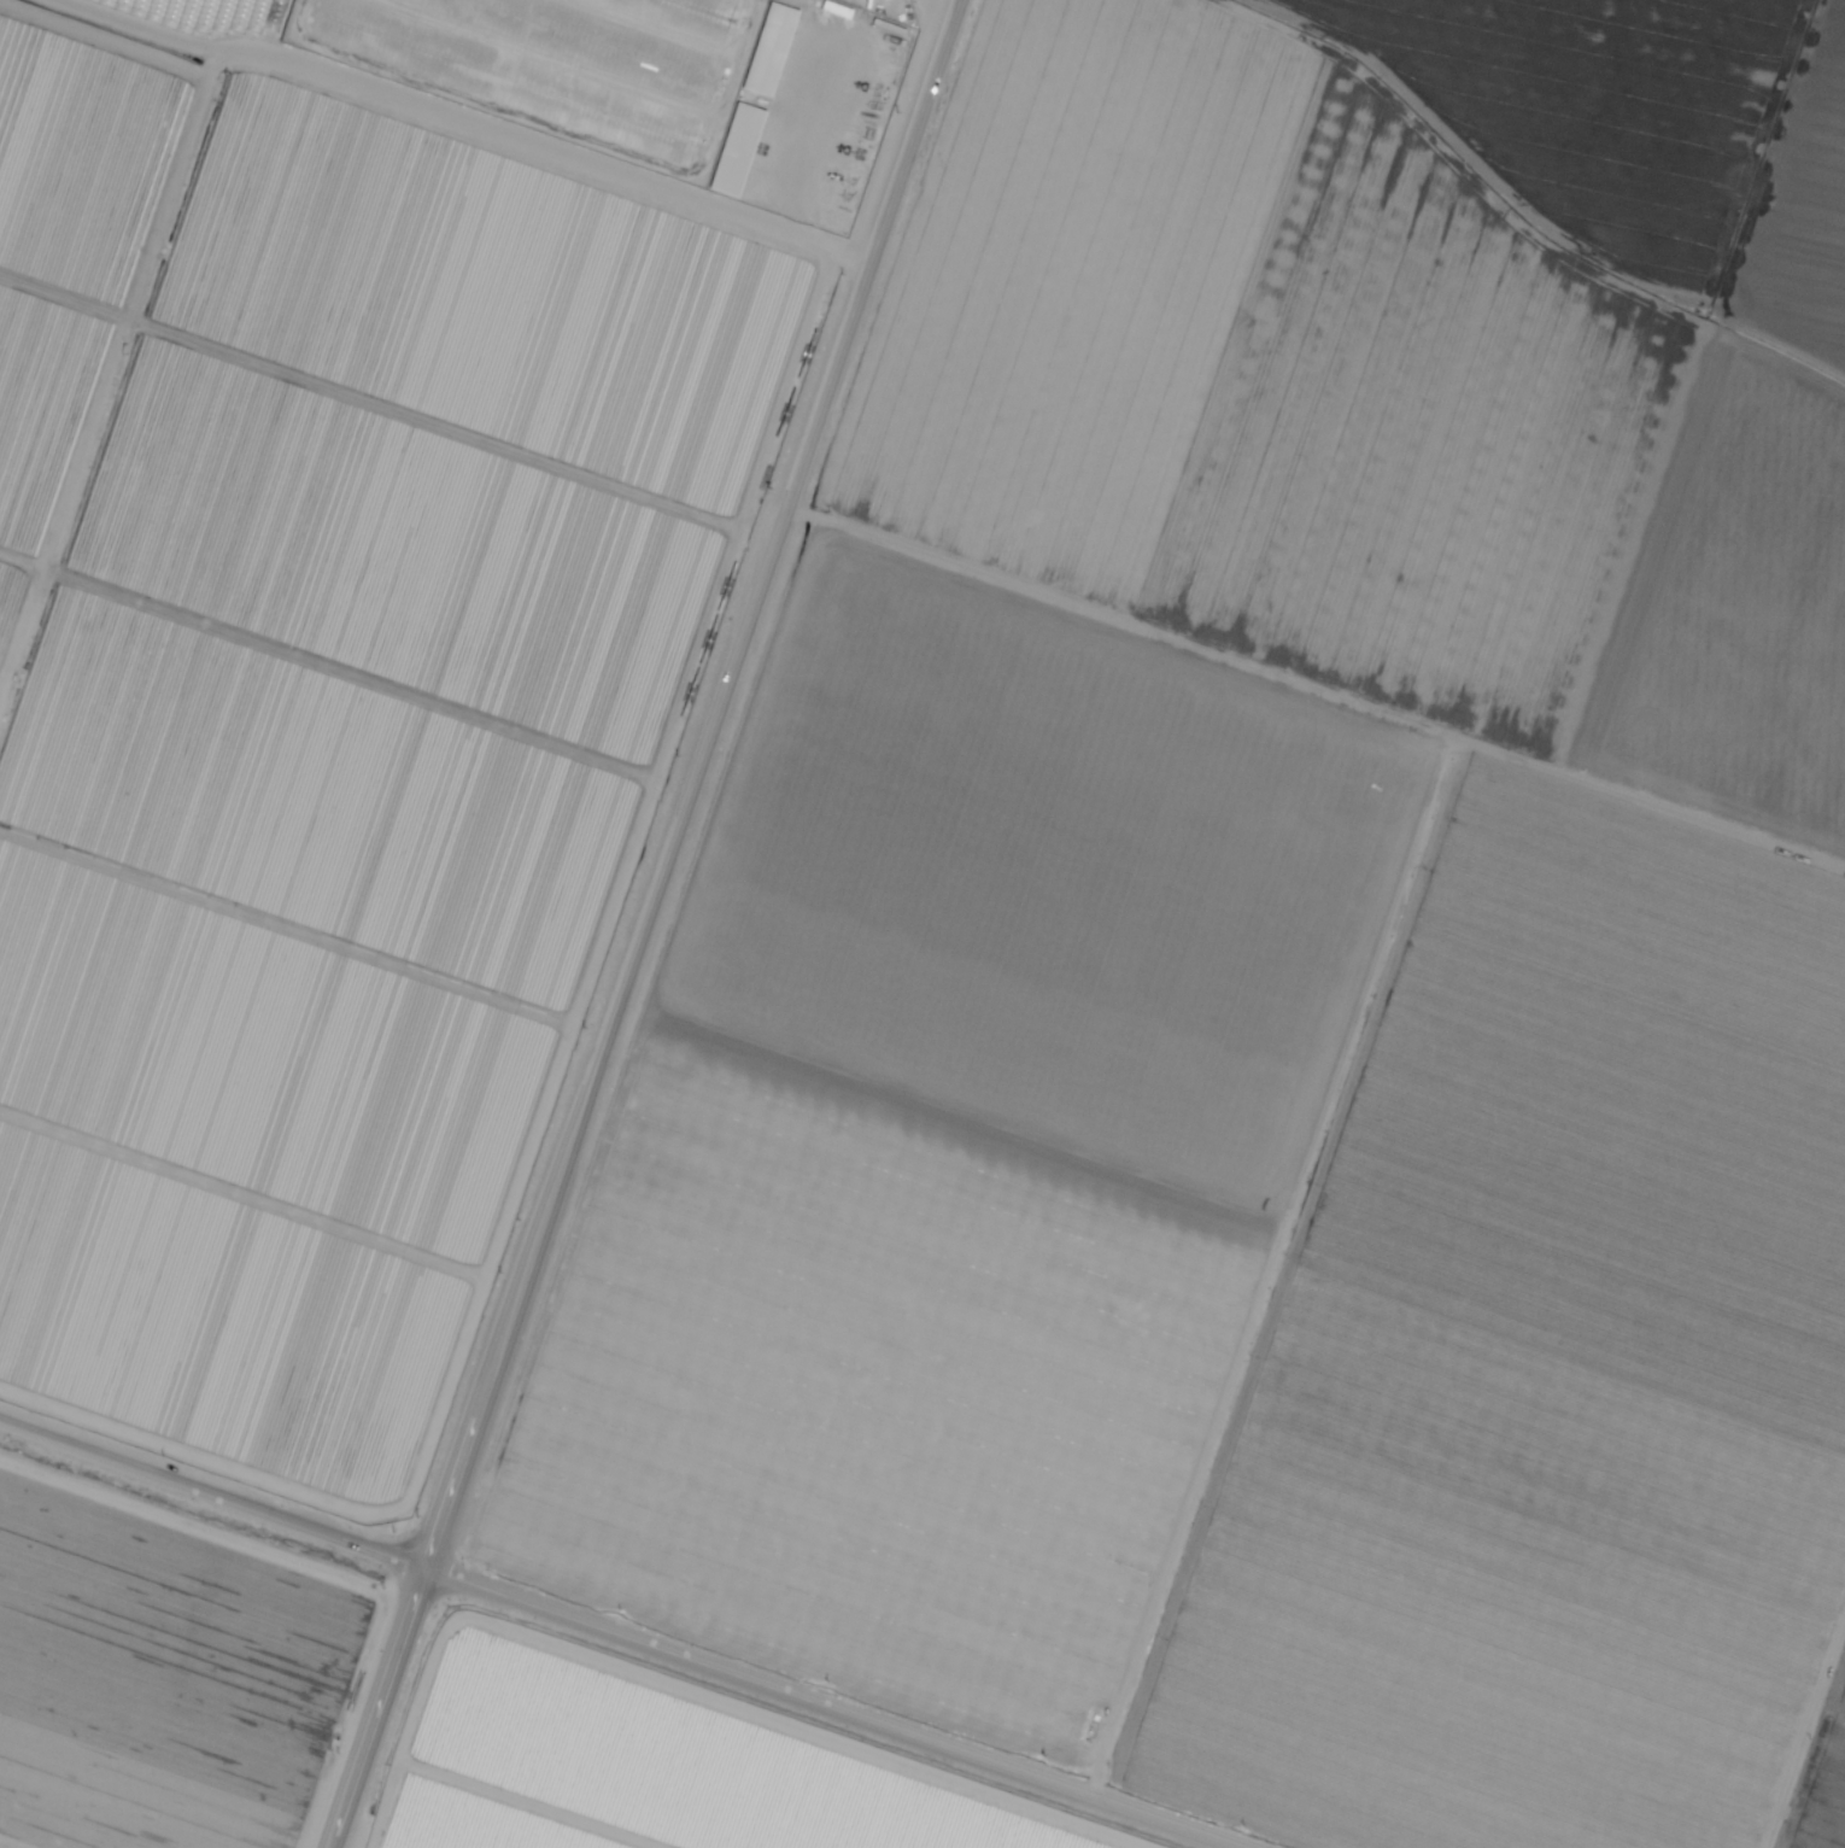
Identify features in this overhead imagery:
crop: (204, 18)
building: (773, 48)
building: (504, 66)
crop: (1591, 111)
building: (742, 150)
crop: (75, 151)
crop: (1799, 223)
crop: (503, 275)
crop: (53, 344)
crop: (1349, 419)
crop: (430, 485)
crop: (22, 544)
crop: (359, 696)
crop: (289, 903)
road: (638, 923)
crop: (248, 1121)
crop: (954, 1151)
crop: (213, 1343)
crop: (1542, 1373)
road: (210, 1496)
crop: (164, 1678)
road: (816, 1709)
crop: (660, 1766)
crop: (1821, 1779)
crop: (42, 1832)

